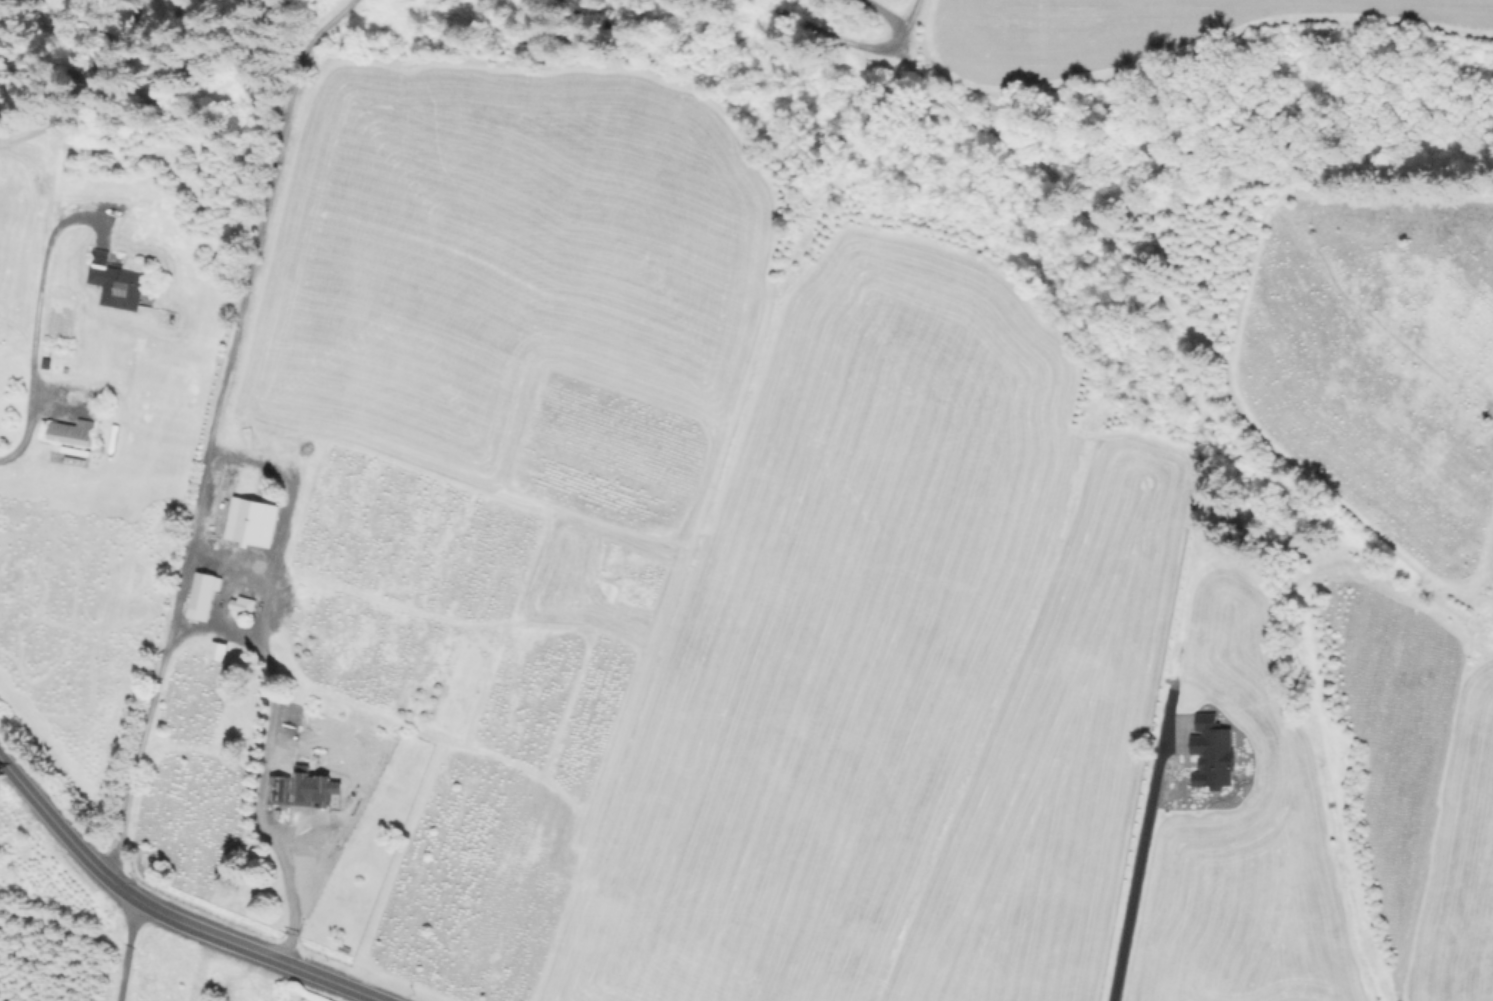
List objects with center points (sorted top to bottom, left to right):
road: (850, 43)
road: (261, 222)
building: (114, 279)
road: (29, 321)
building: (47, 363)
building: (70, 431)
building: (248, 524)
road: (189, 544)
building: (199, 597)
road: (216, 634)
building: (281, 757)
building: (315, 787)
road: (260, 804)
road: (1131, 863)
road: (167, 915)
road: (129, 950)

